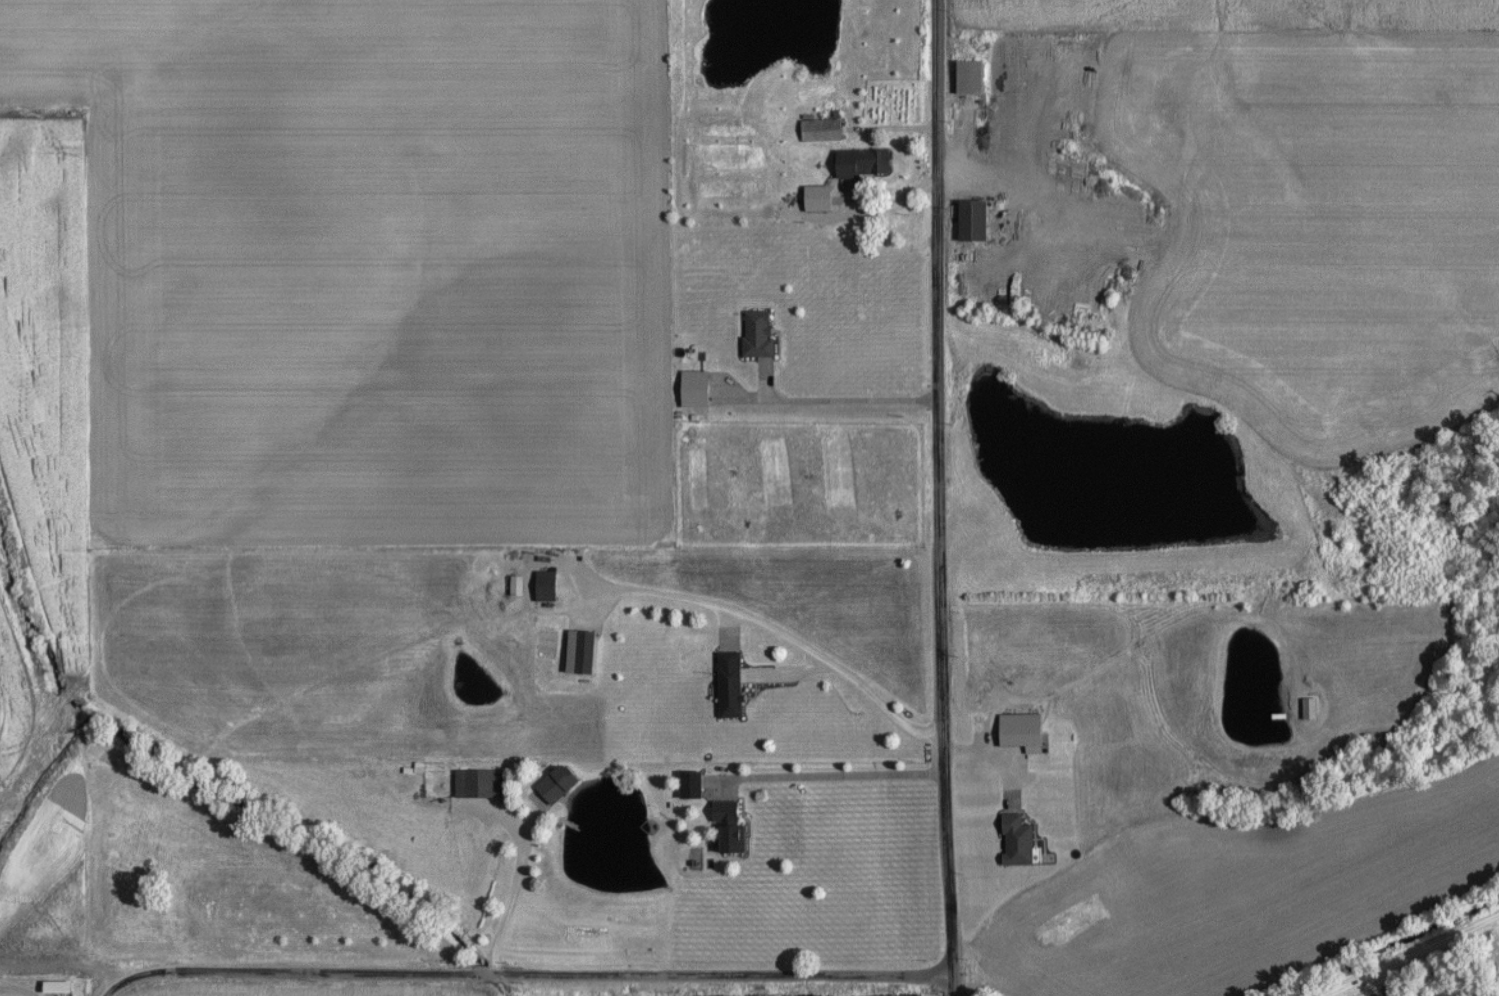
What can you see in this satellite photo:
building: (969, 80)
building: (819, 133)
building: (862, 167)
building: (816, 202)
building: (974, 225)
building: (759, 337)
building: (696, 392)
road: (852, 401)
road: (941, 498)
building: (546, 589)
road: (710, 600)
building: (585, 654)
road: (854, 677)
building: (731, 688)
building: (1309, 711)
building: (1023, 733)
road: (836, 775)
building: (558, 785)
building: (479, 786)
building: (731, 827)
building: (1019, 843)
road: (523, 881)
road: (1414, 955)
road: (528, 971)
building: (59, 990)

